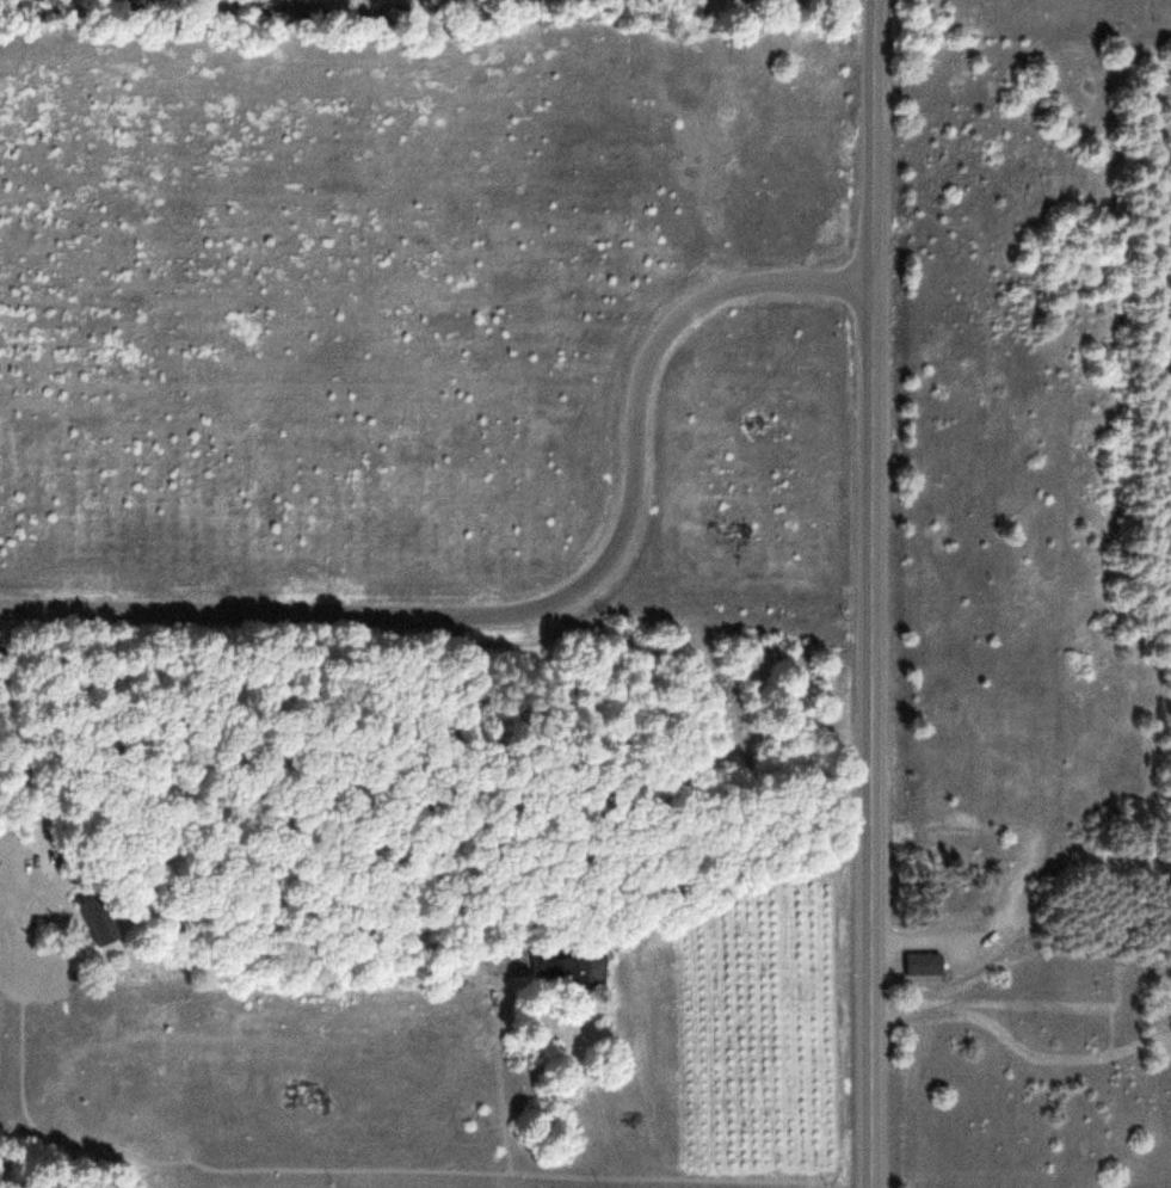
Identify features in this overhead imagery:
road: (870, 593)
road: (542, 603)
building: (926, 964)
building: (572, 967)
road: (550, 1169)

